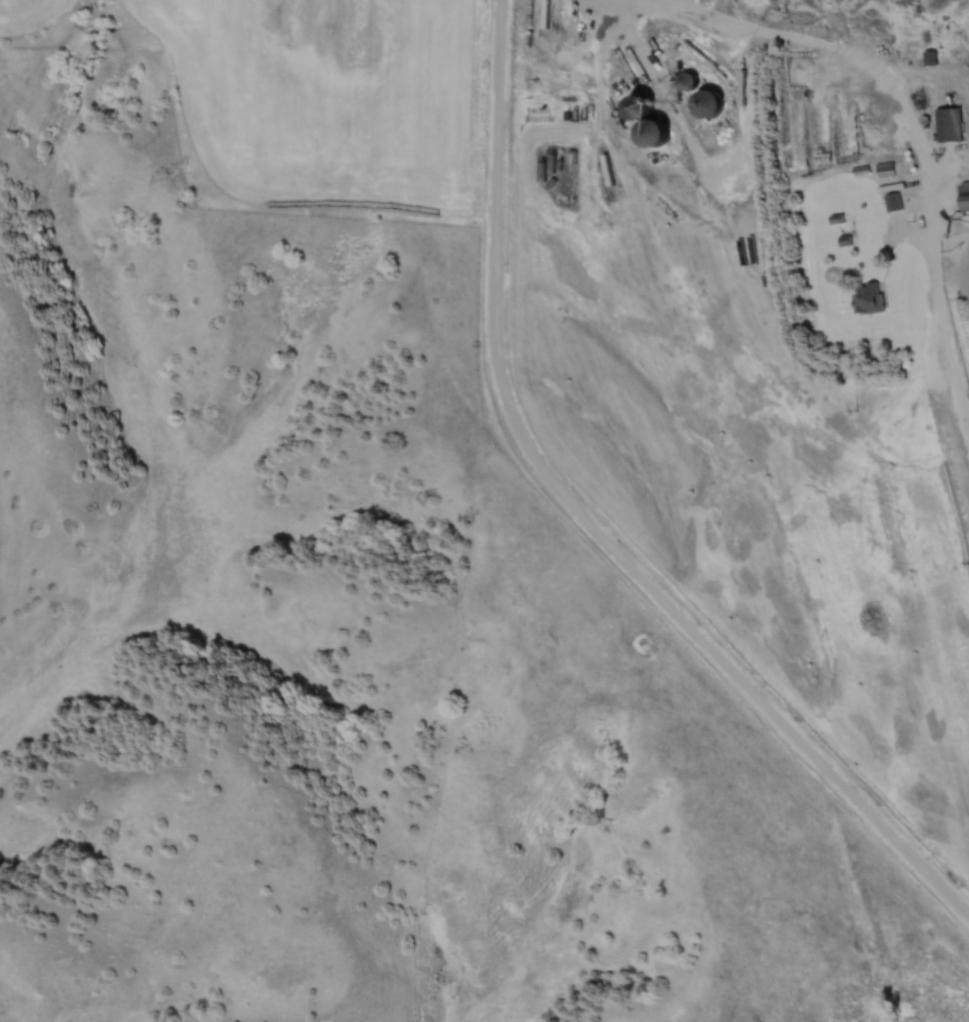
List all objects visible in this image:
building: (931, 59)
building: (686, 82)
building: (707, 105)
building: (638, 109)
building: (948, 125)
building: (648, 134)
road: (917, 134)
building: (885, 171)
building: (965, 197)
building: (893, 203)
building: (869, 299)
road: (590, 516)

